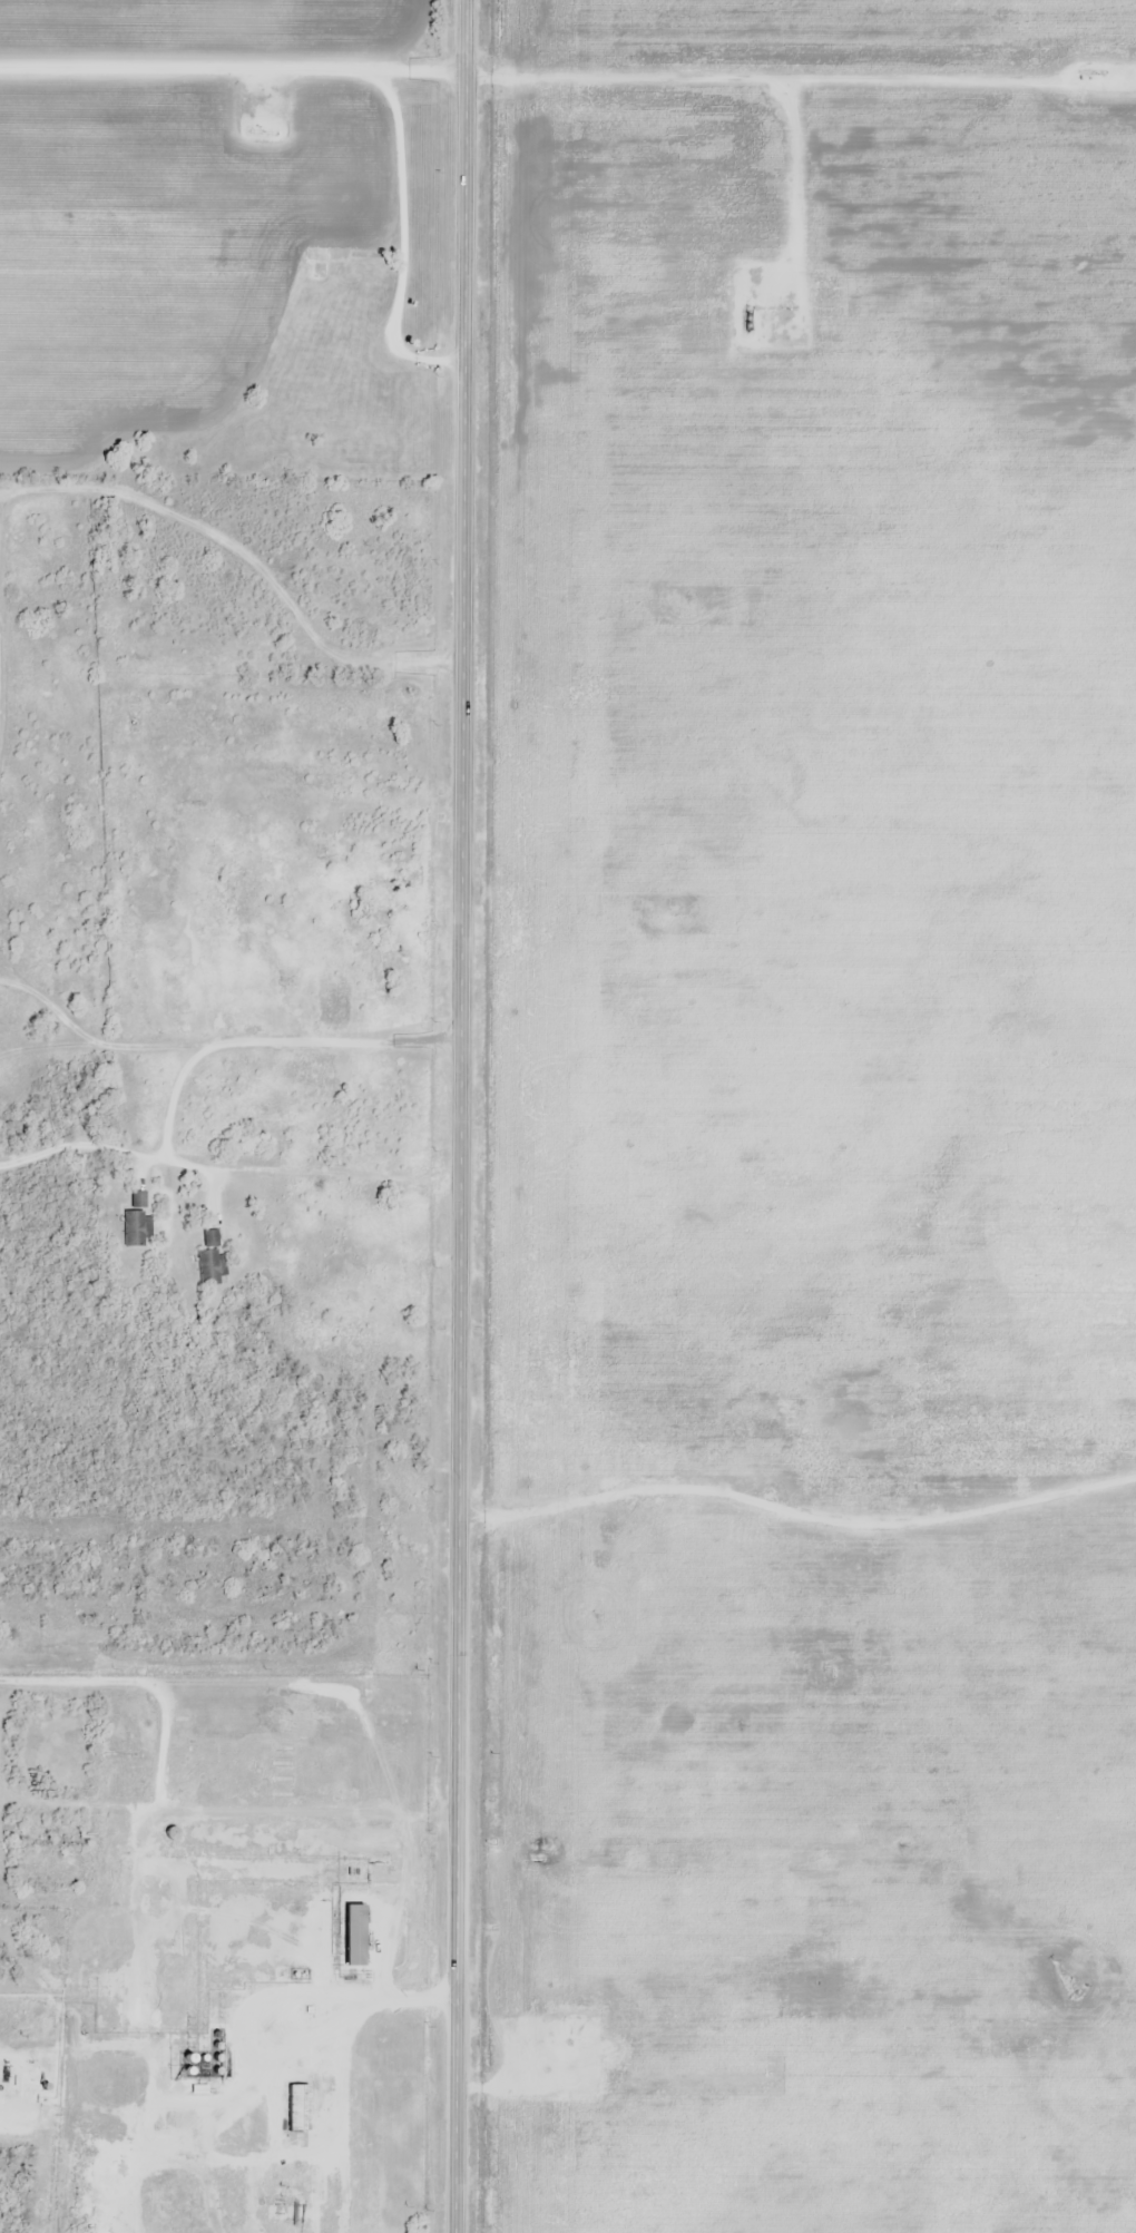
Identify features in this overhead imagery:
building: (337, 989)
road: (463, 1116)
building: (137, 1228)
building: (209, 1261)
road: (535, 1532)
building: (356, 1936)
building: (283, 2115)

